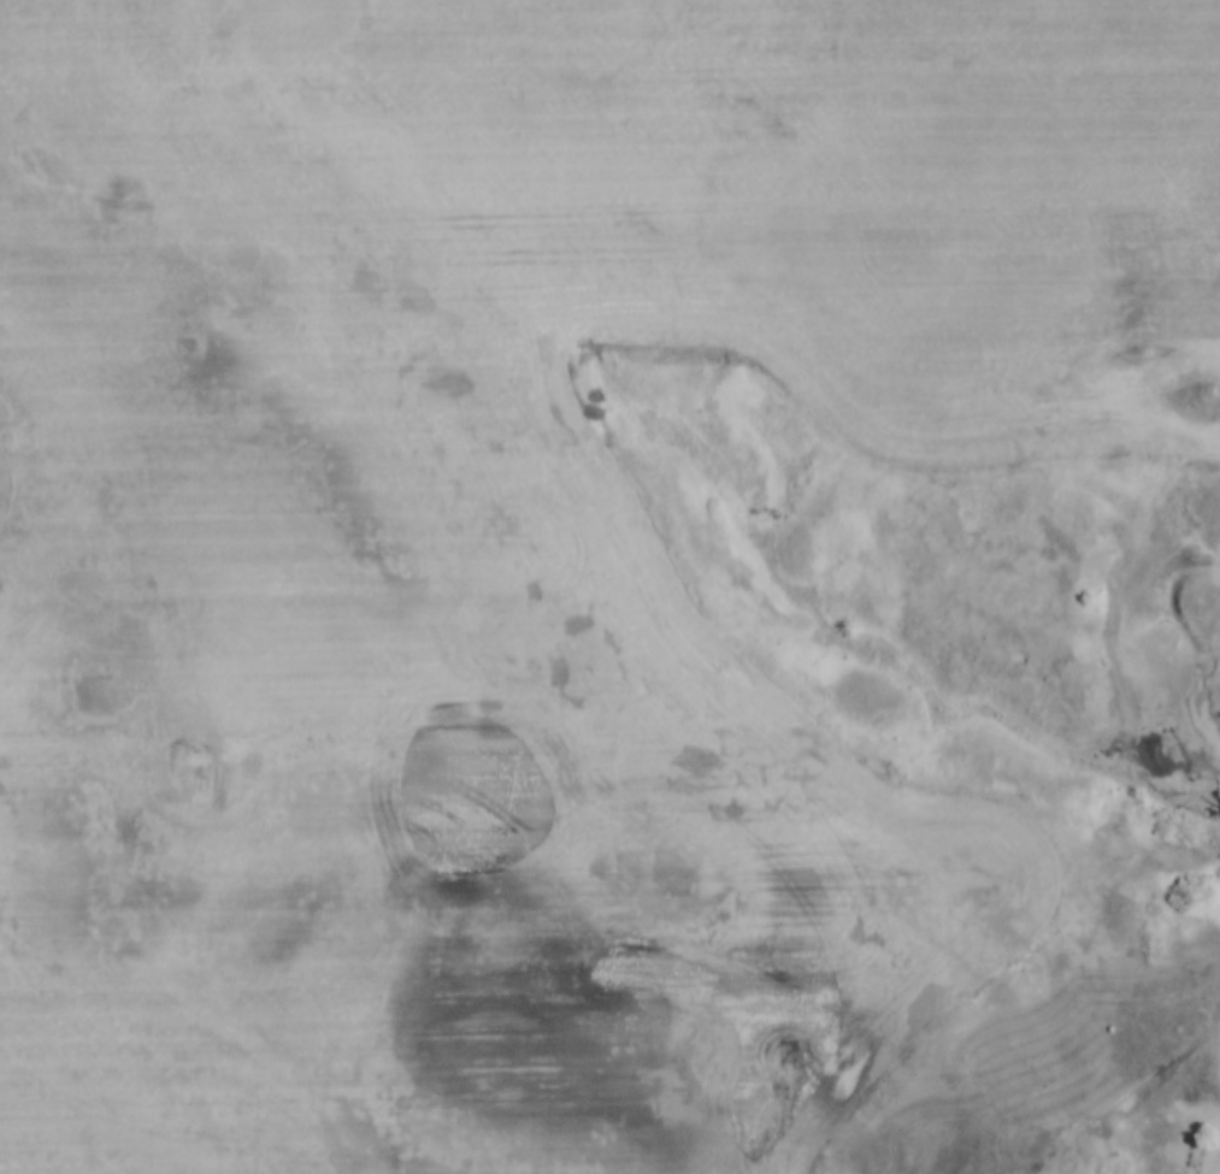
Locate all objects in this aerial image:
park: (1147, 1054)
road: (1128, 1091)

